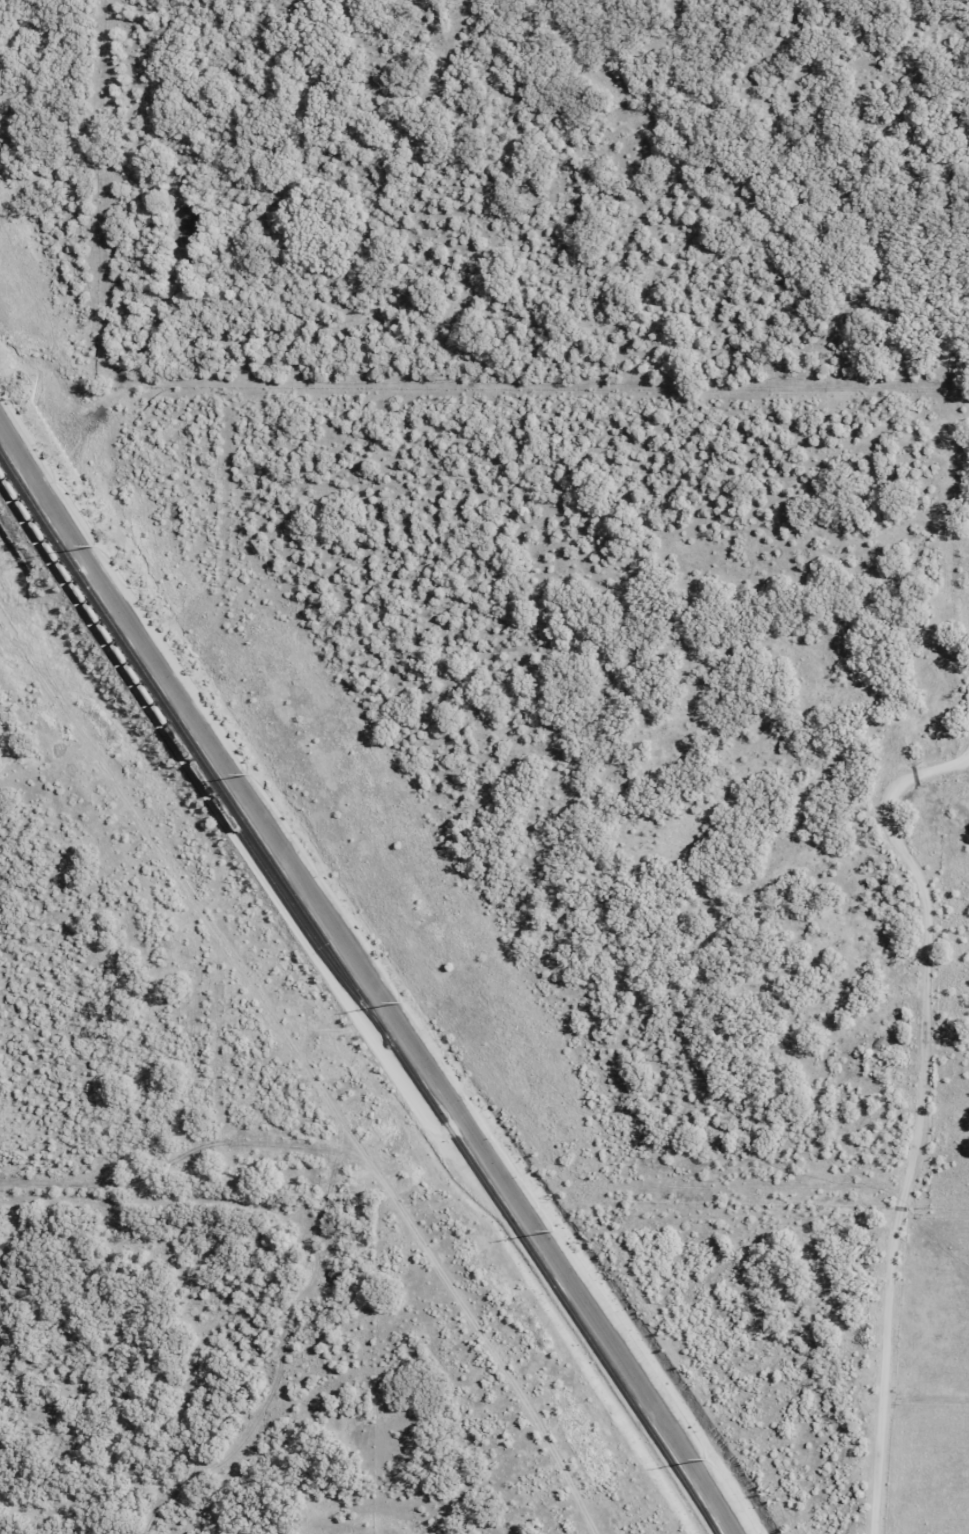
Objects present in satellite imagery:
power tower: (99, 546)
railway: (184, 742)
power tower: (251, 775)
road: (366, 969)
railway: (360, 988)
power tower: (403, 1004)
road: (919, 1118)
power tower: (555, 1230)
power tower: (706, 1458)

